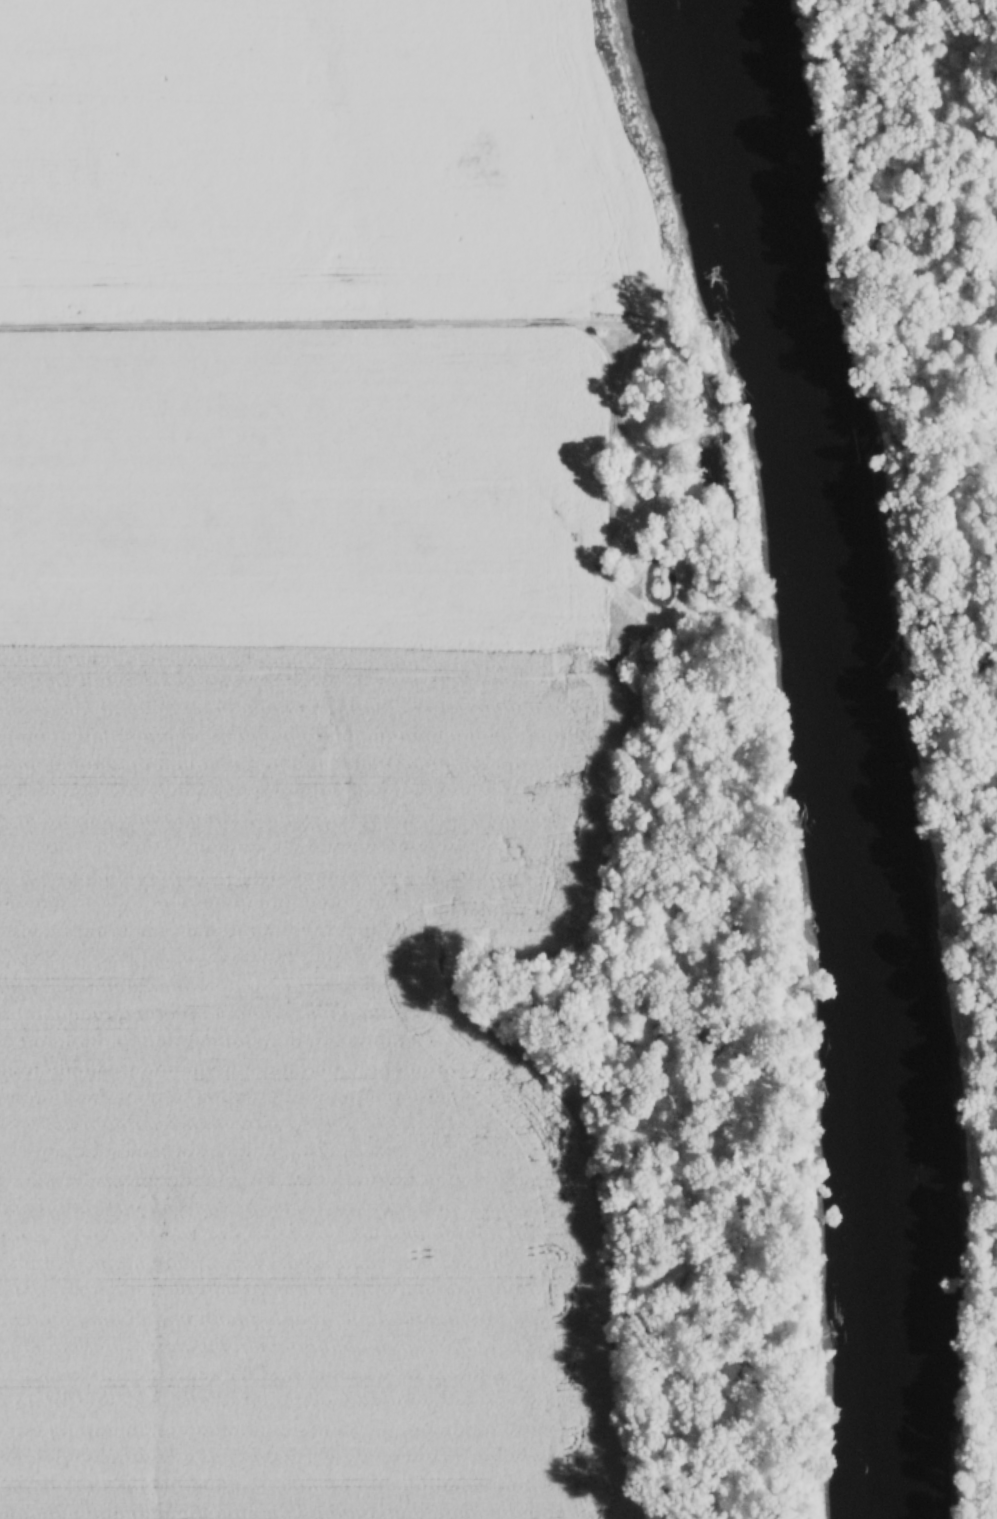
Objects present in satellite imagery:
river: (862, 757)

